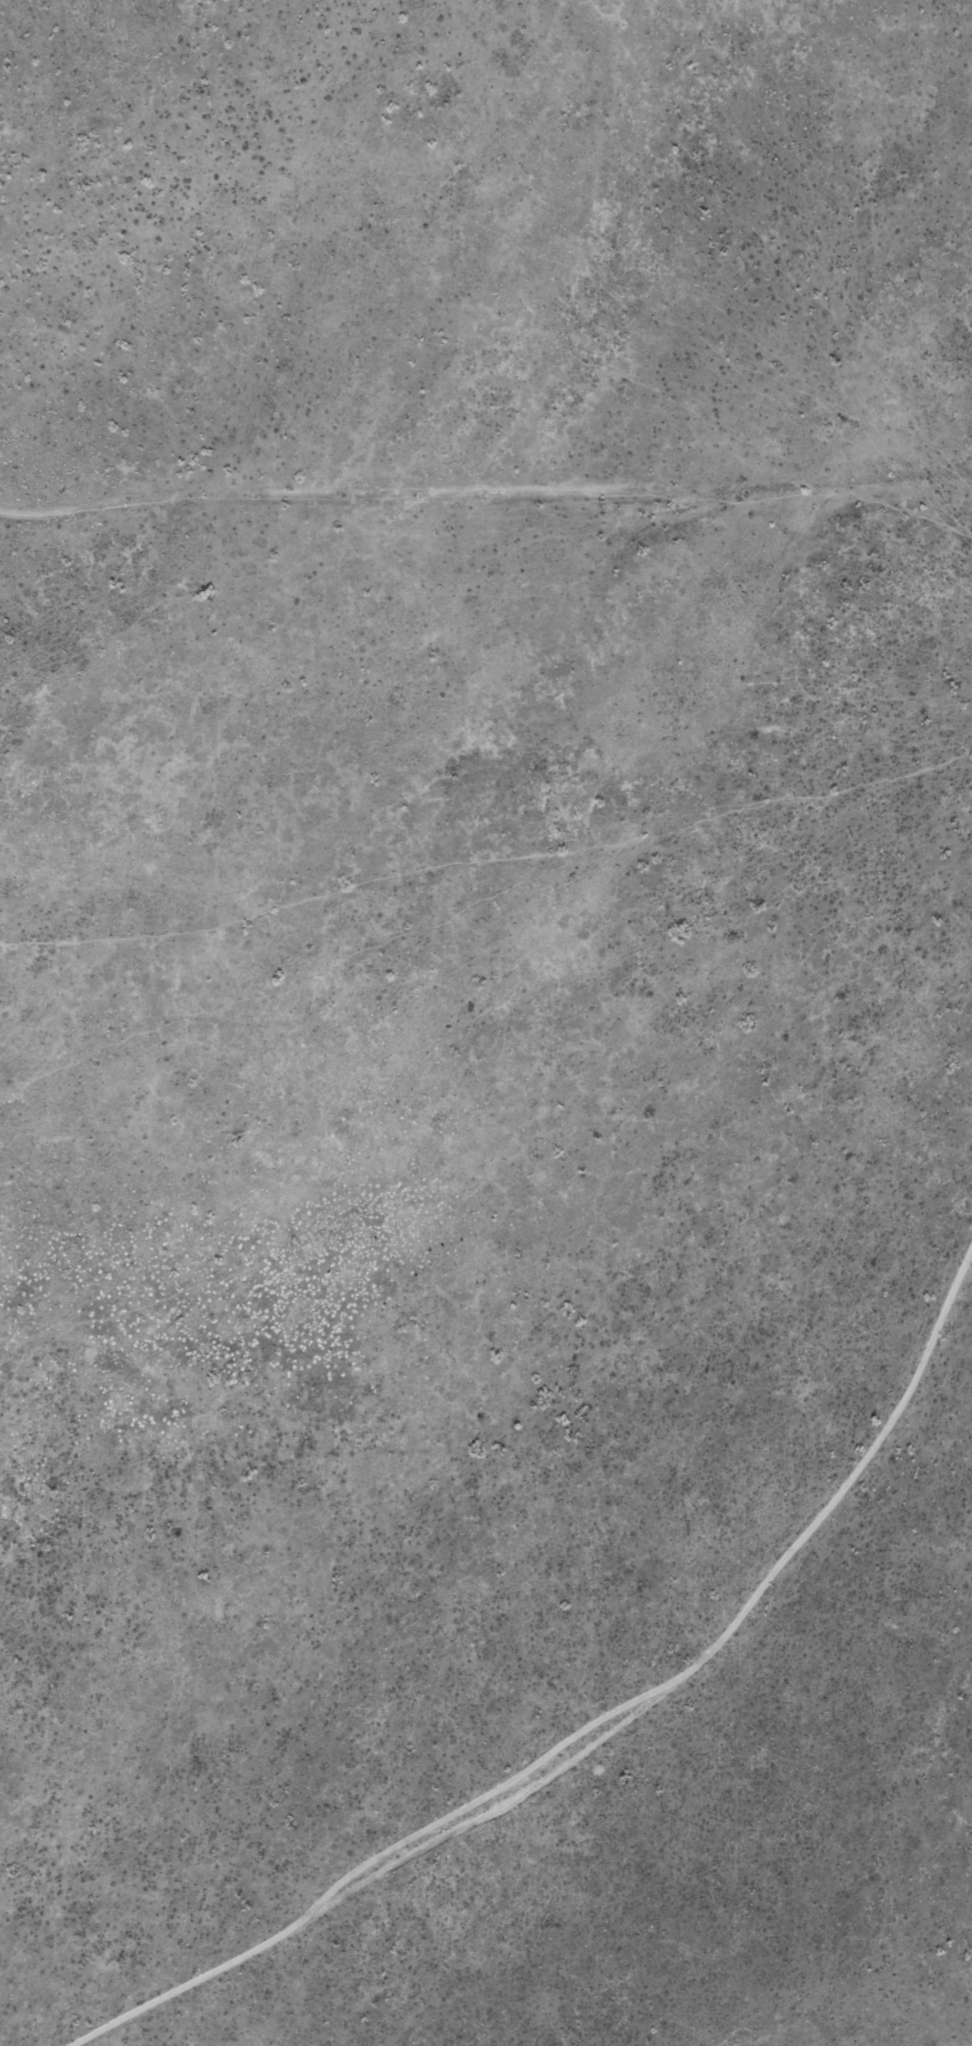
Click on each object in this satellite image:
road: (486, 516)

